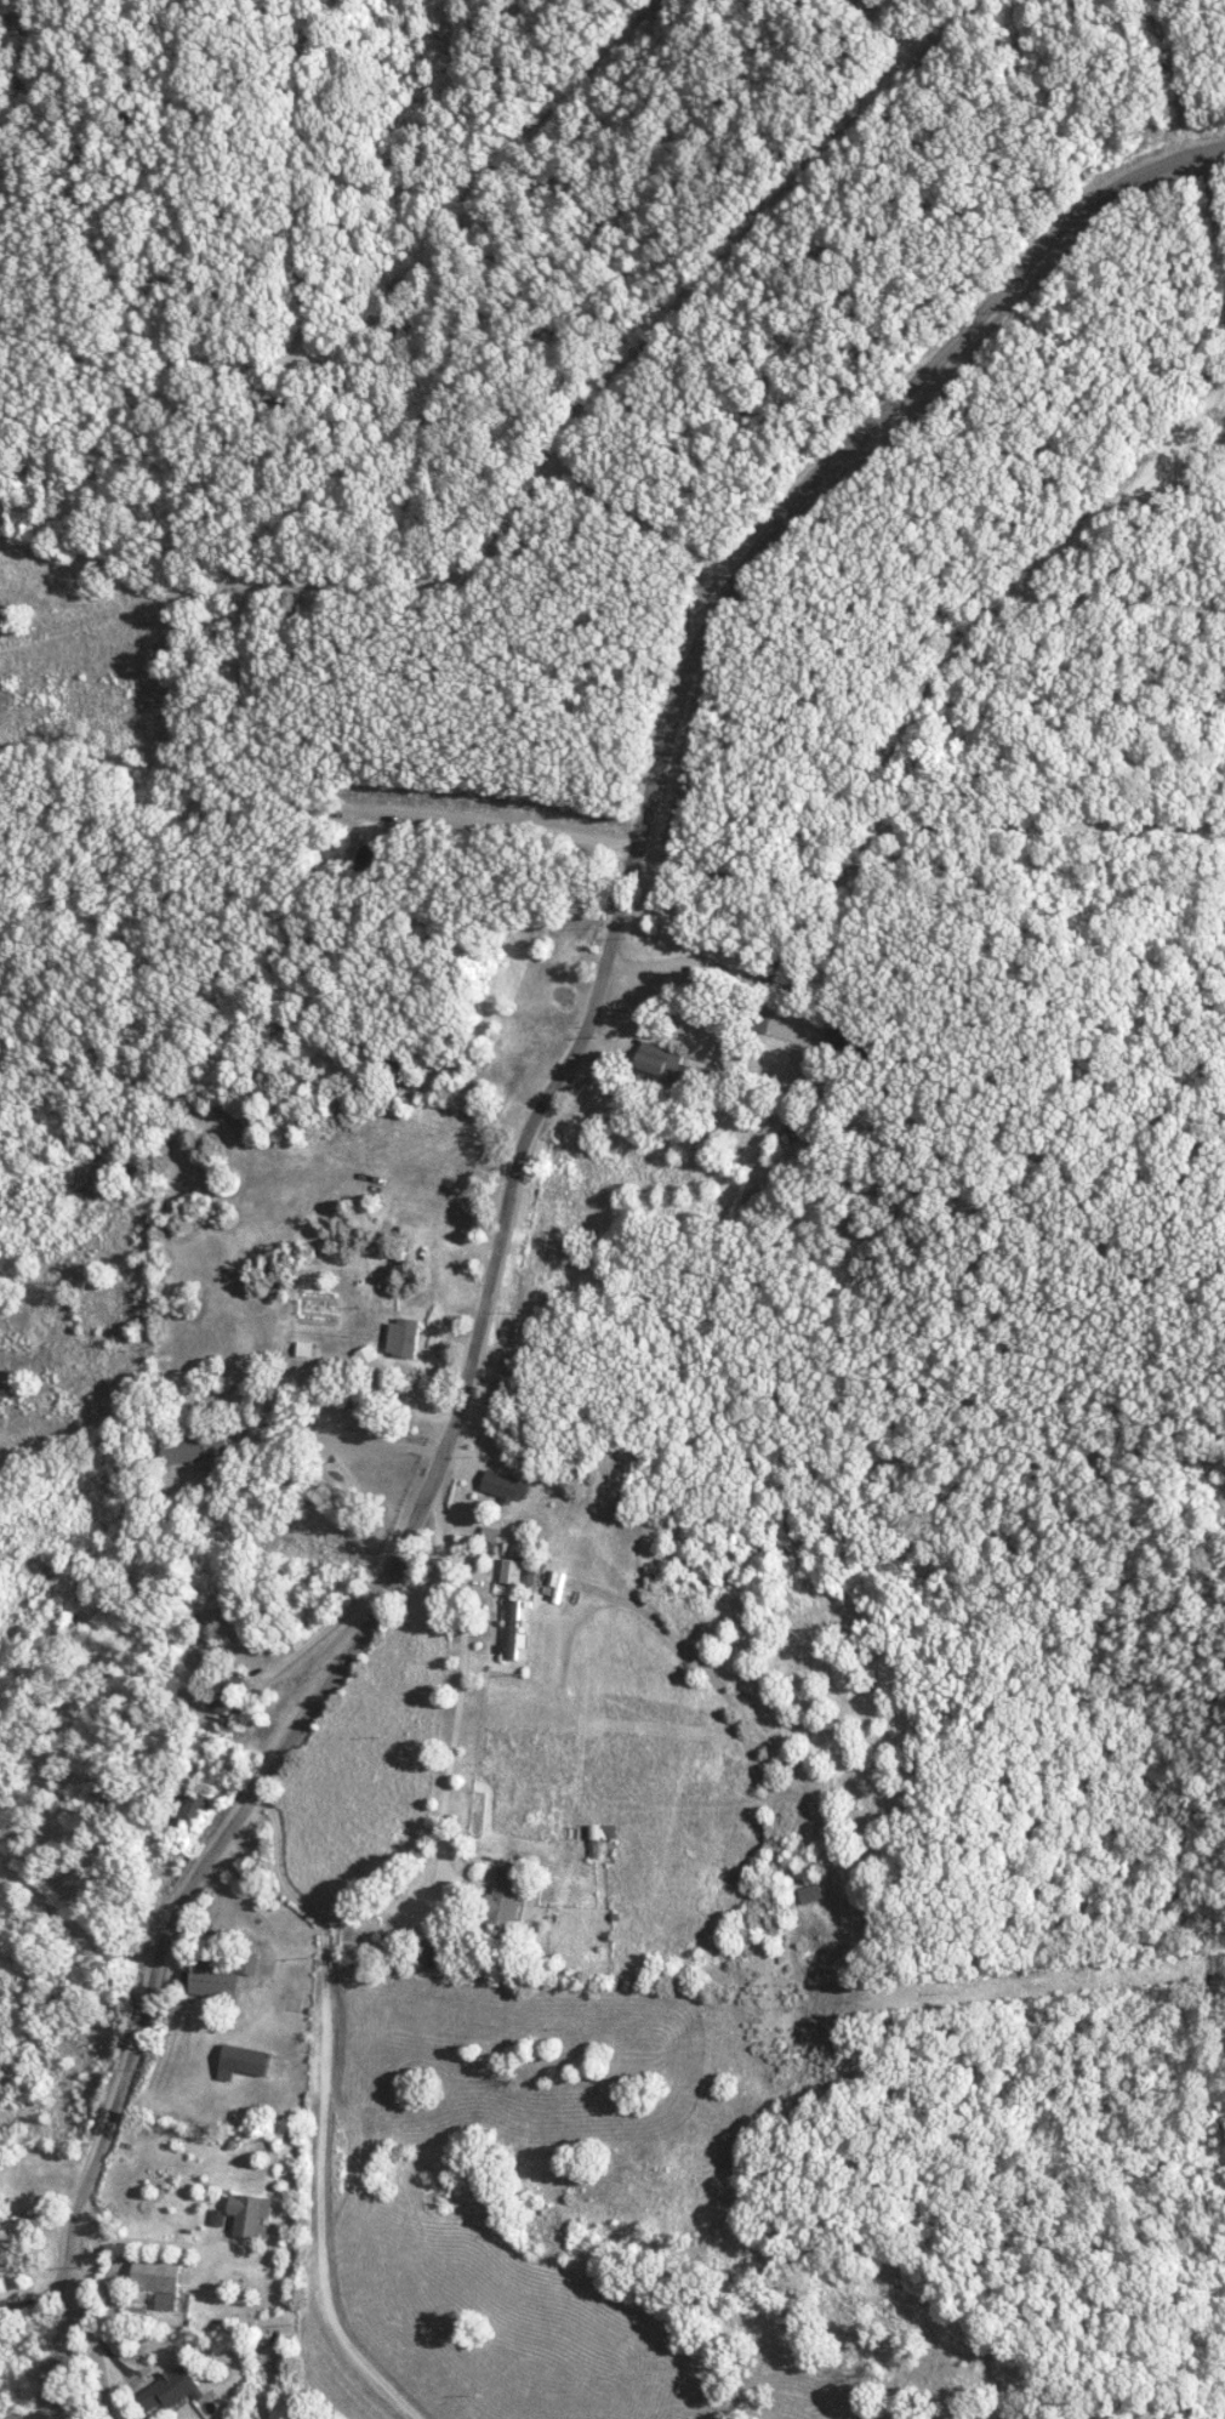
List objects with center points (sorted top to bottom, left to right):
road: (912, 29)
road: (881, 30)
road: (1169, 76)
road: (545, 127)
road: (298, 178)
road: (604, 387)
road: (176, 429)
road: (645, 512)
road: (415, 812)
road: (921, 823)
building: (376, 858)
road: (632, 1011)
building: (853, 1042)
building: (661, 1060)
building: (497, 1071)
road: (515, 1161)
building: (405, 1338)
building: (285, 1350)
building: (367, 1354)
road: (357, 1444)
building: (196, 1446)
road: (377, 1485)
building: (505, 1485)
building: (490, 1533)
building: (517, 1572)
building: (513, 1632)
road: (462, 1690)
building: (222, 1697)
road: (147, 1742)
building: (192, 1809)
building: (599, 1837)
building: (503, 1903)
building: (215, 1981)
building: (244, 2061)
road: (318, 2108)
building: (252, 2213)
building: (218, 2215)
building: (12, 2237)
building: (160, 2278)
road: (96, 2324)
building: (171, 2387)

